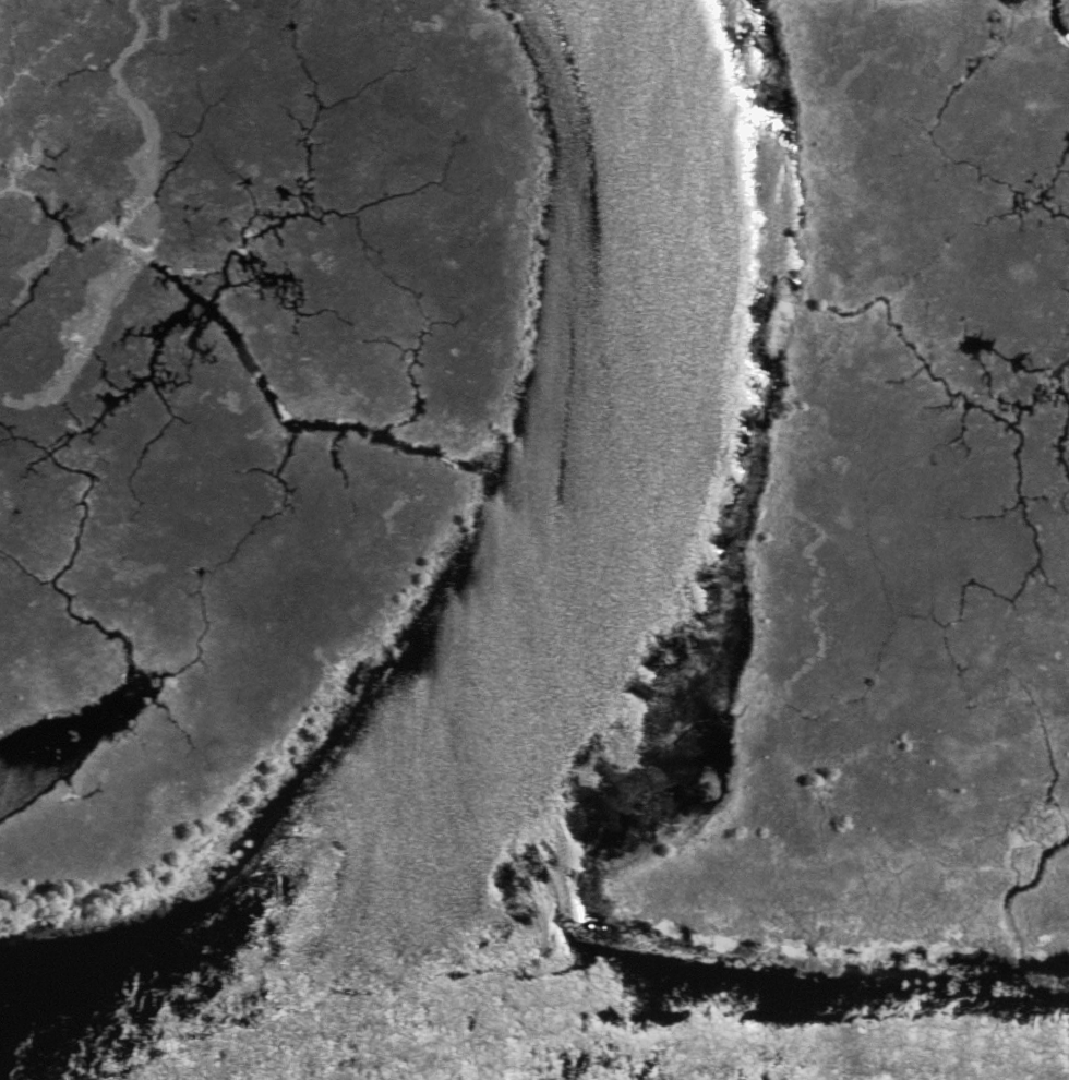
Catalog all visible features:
river: (596, 547)
river: (702, 1047)
river: (266, 1060)

